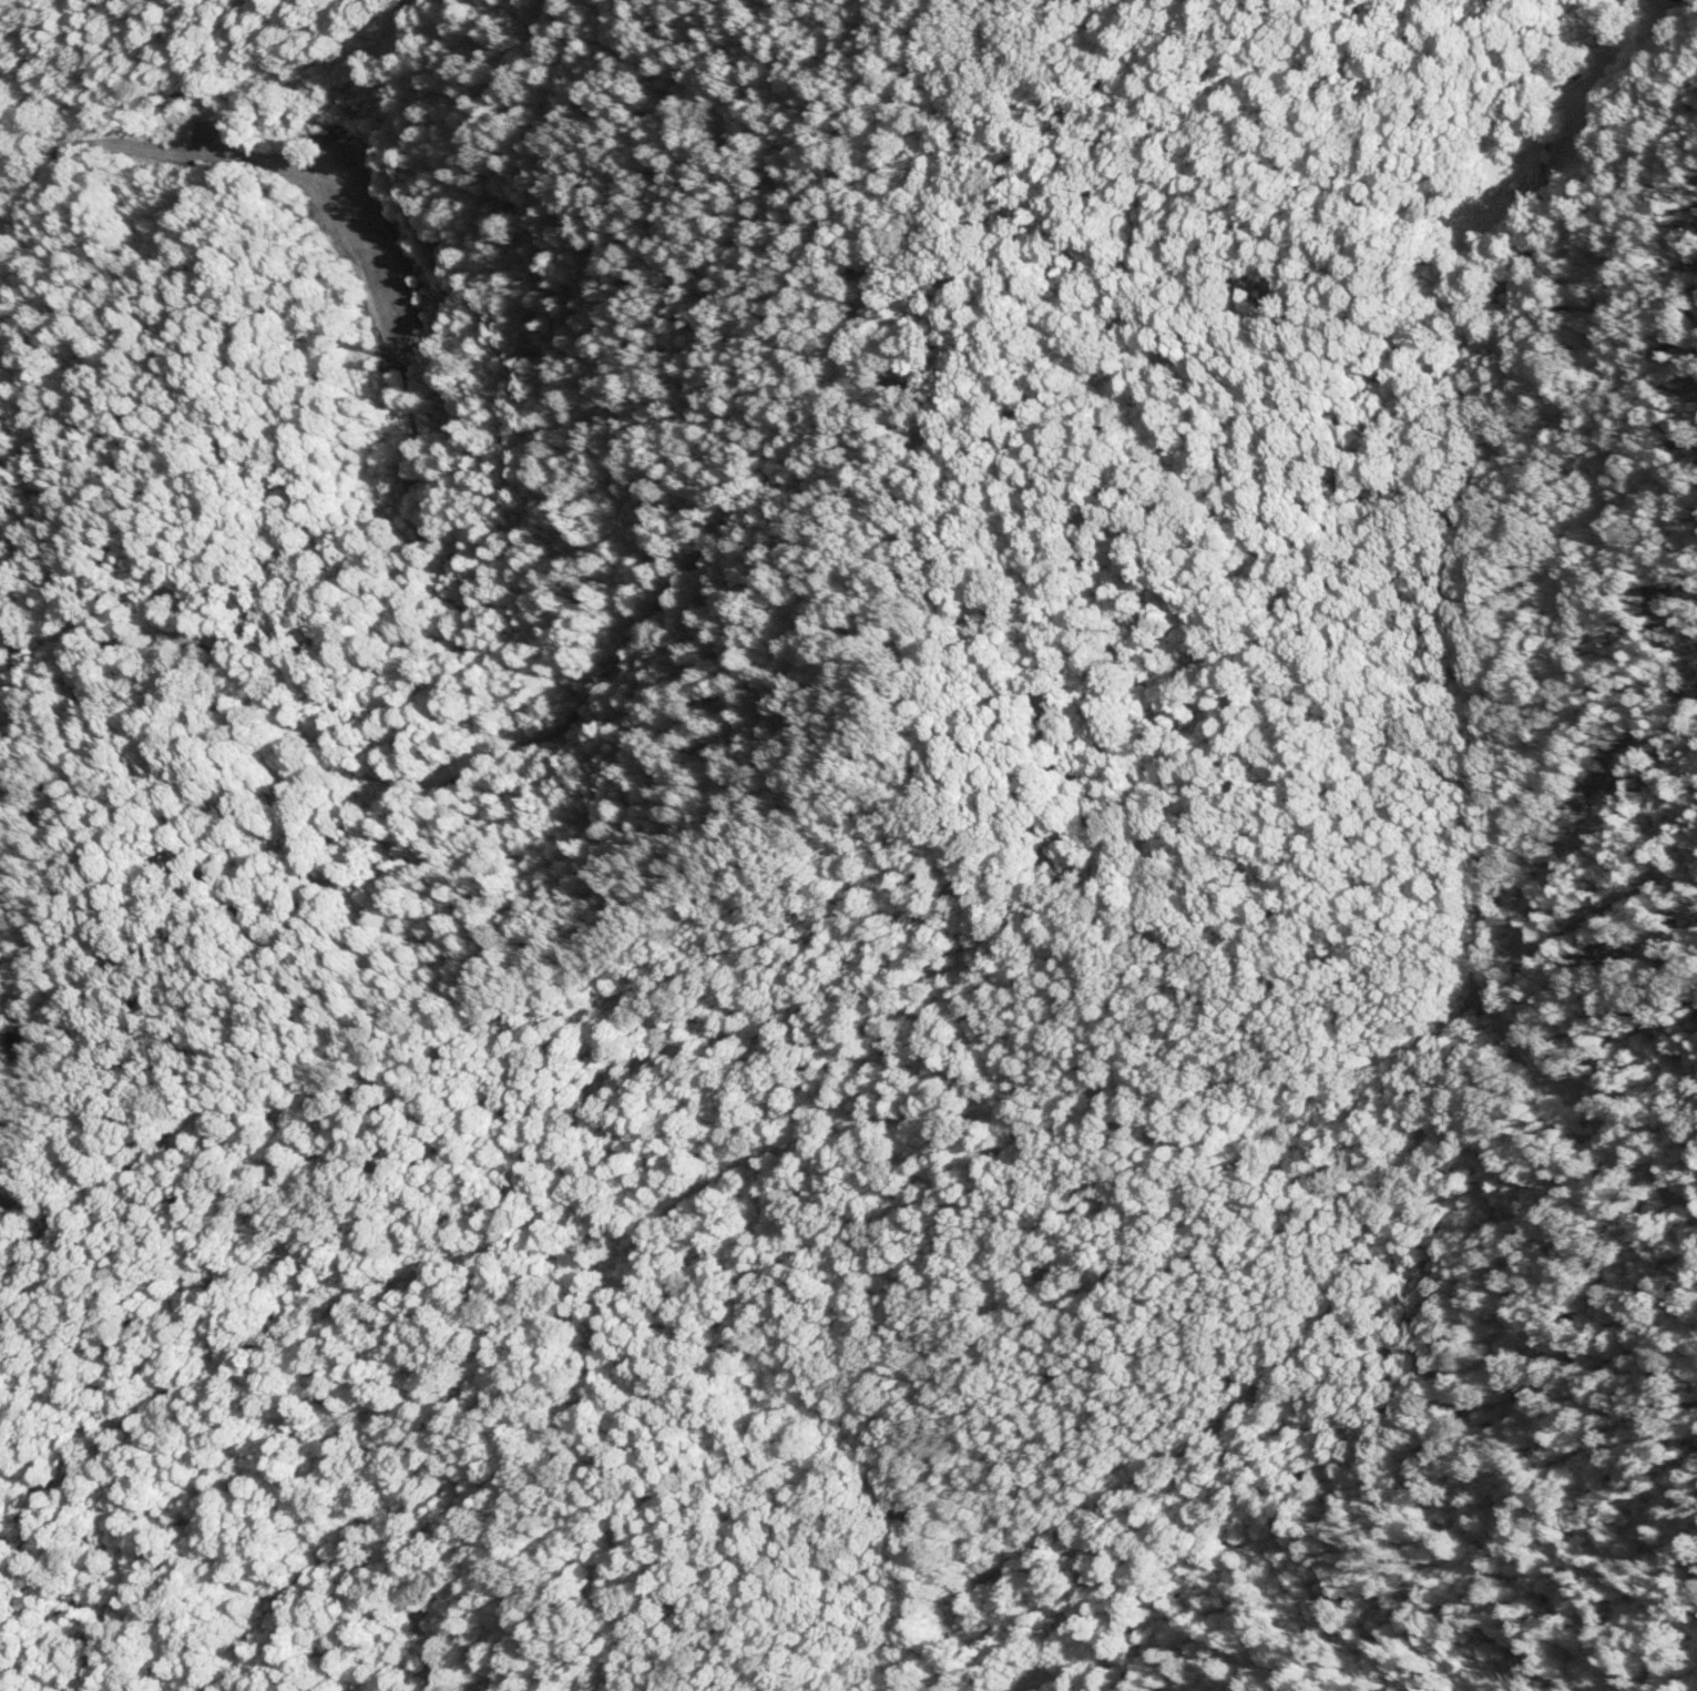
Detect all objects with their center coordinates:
road: (1455, 948)
road: (423, 1295)

